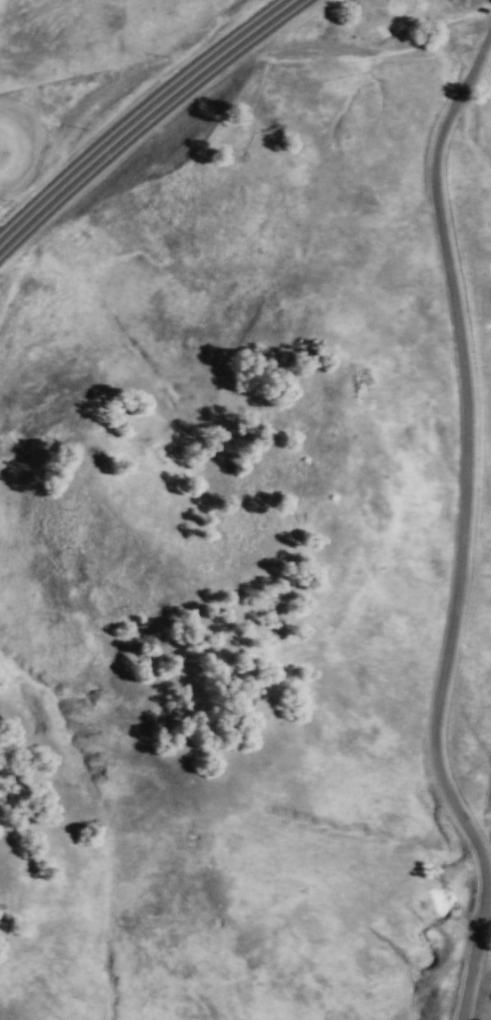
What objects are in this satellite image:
road: (140, 116)
road: (470, 535)

